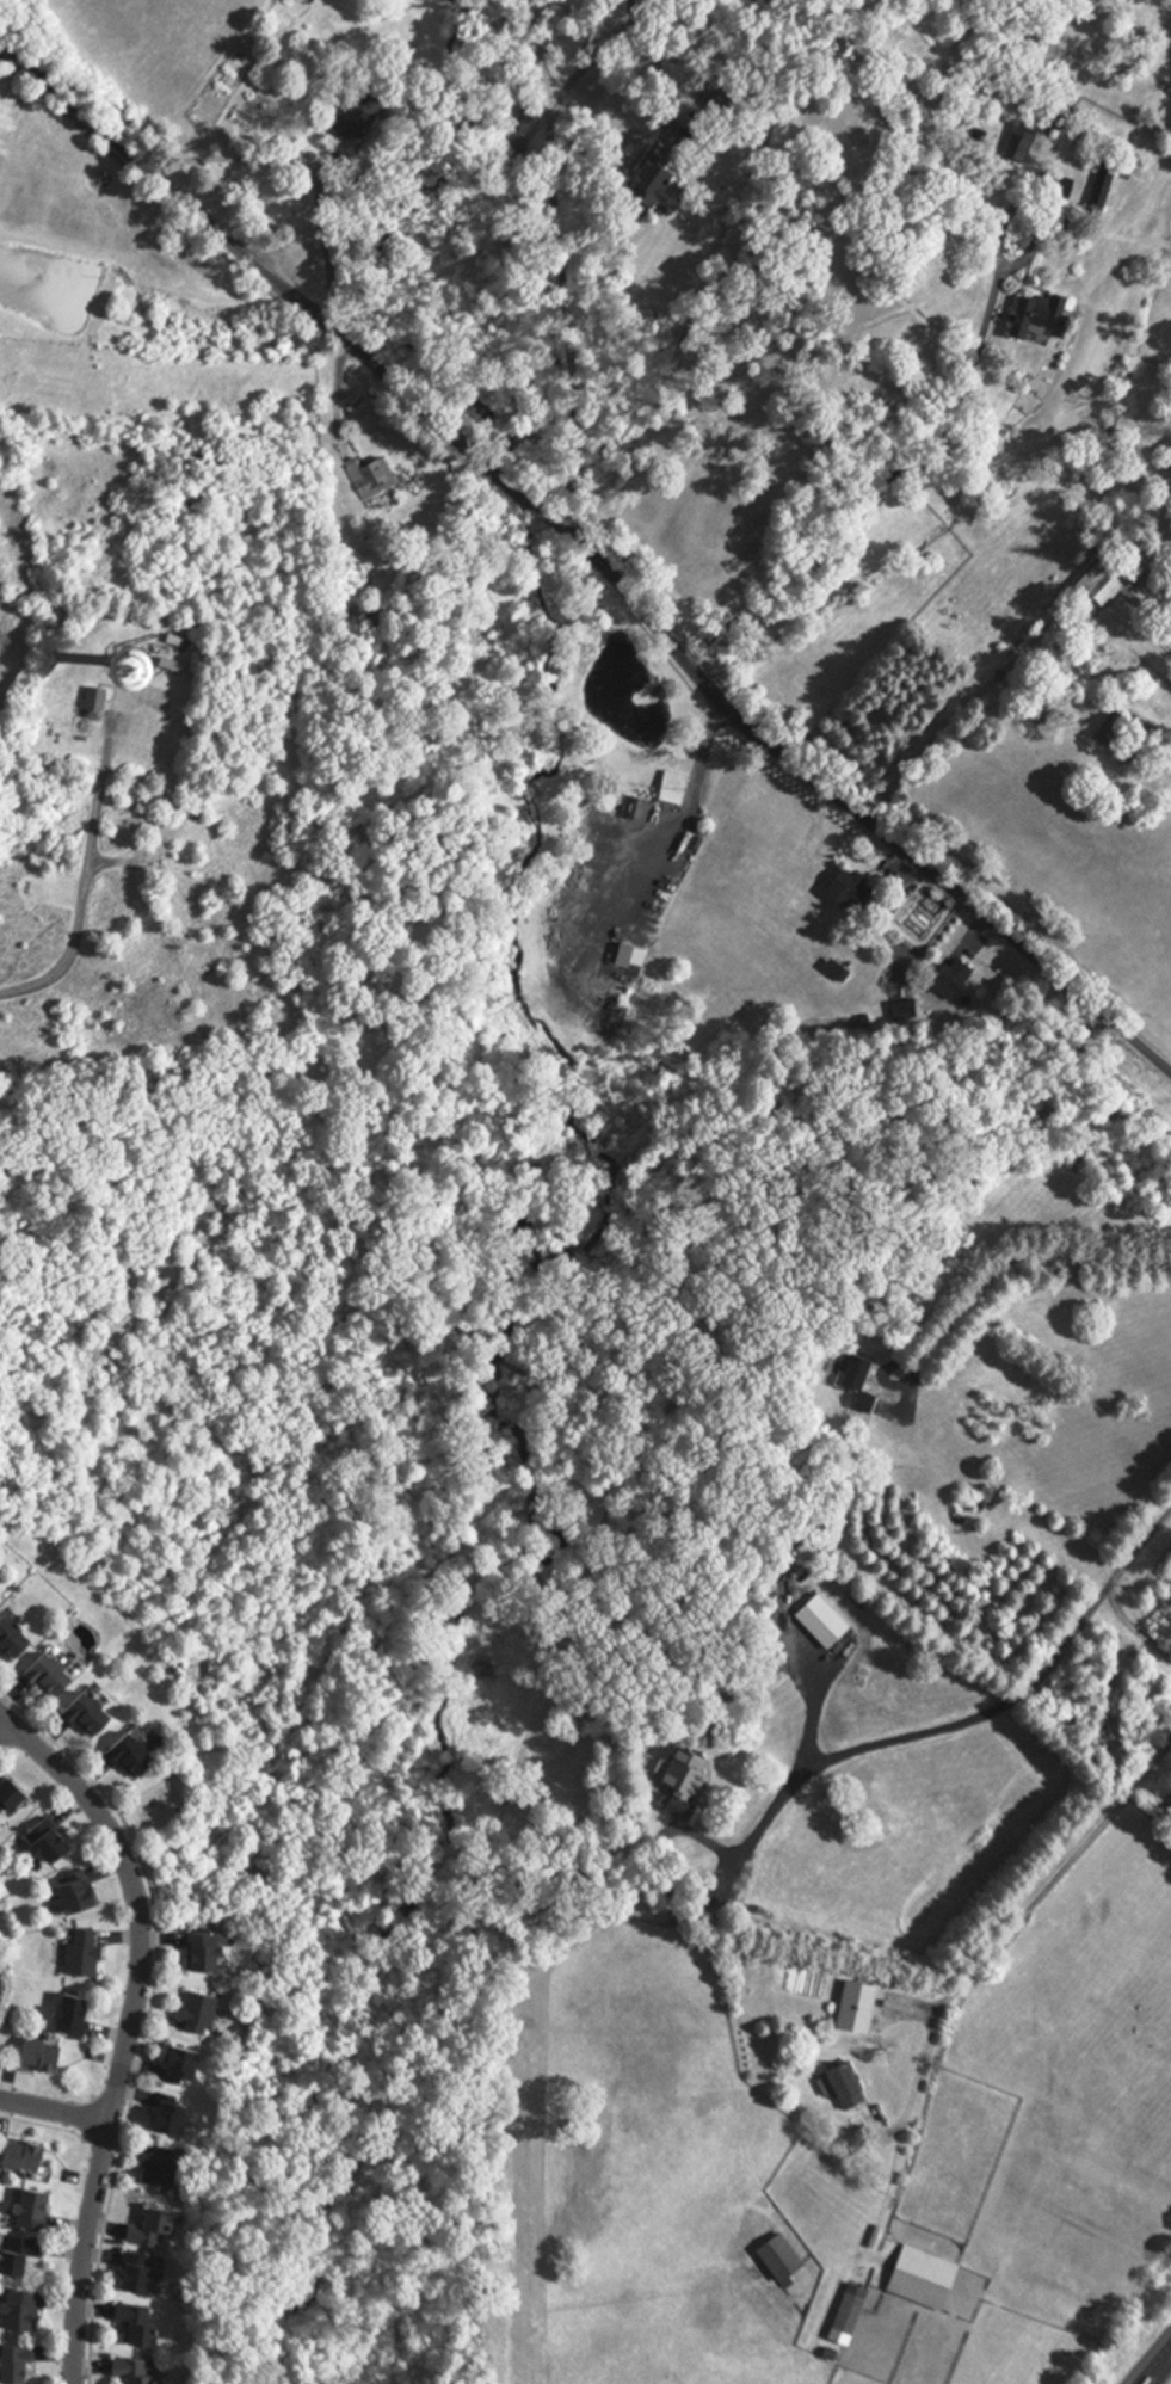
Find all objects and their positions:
building: (308, 1)
crop: (159, 45)
road: (596, 56)
road: (665, 85)
building: (721, 99)
building: (1056, 115)
building: (355, 116)
building: (1017, 142)
road: (304, 168)
building: (648, 179)
building: (1099, 181)
building: (1058, 184)
building: (666, 210)
crop: (117, 221)
road: (254, 261)
road: (560, 264)
building: (1042, 316)
road: (338, 384)
road: (931, 429)
building: (370, 476)
road: (520, 495)
building: (1105, 584)
building: (109, 661)
water tower: (109, 663)
building: (94, 701)
road: (933, 740)
building: (676, 788)
road: (840, 797)
road: (690, 807)
road: (87, 885)
building: (848, 889)
road: (933, 934)
road: (972, 934)
building: (635, 960)
building: (950, 978)
road: (1022, 1255)
building: (867, 1385)
building: (1, 1604)
road: (1129, 1626)
building: (19, 1639)
building: (60, 1677)
building: (99, 1715)
road: (1, 1720)
road: (960, 1723)
building: (142, 1757)
building: (680, 1781)
building: (17, 1799)
building: (57, 1843)
building: (85, 1895)
building: (214, 1954)
building: (91, 1955)
road: (974, 1964)
building: (207, 2015)
building: (79, 2016)
road: (127, 2027)
building: (45, 2057)
building: (192, 2069)
building: (852, 2088)
road: (54, 2111)
building: (178, 2119)
building: (27, 2158)
building: (168, 2169)
building: (38, 2212)
building: (159, 2231)
building: (27, 2255)
building: (785, 2260)
building: (147, 2274)
building: (929, 2280)
building: (855, 2310)
building: (27, 2311)
building: (146, 2324)
building: (23, 2364)
building: (143, 2370)
road: (1160, 2370)

